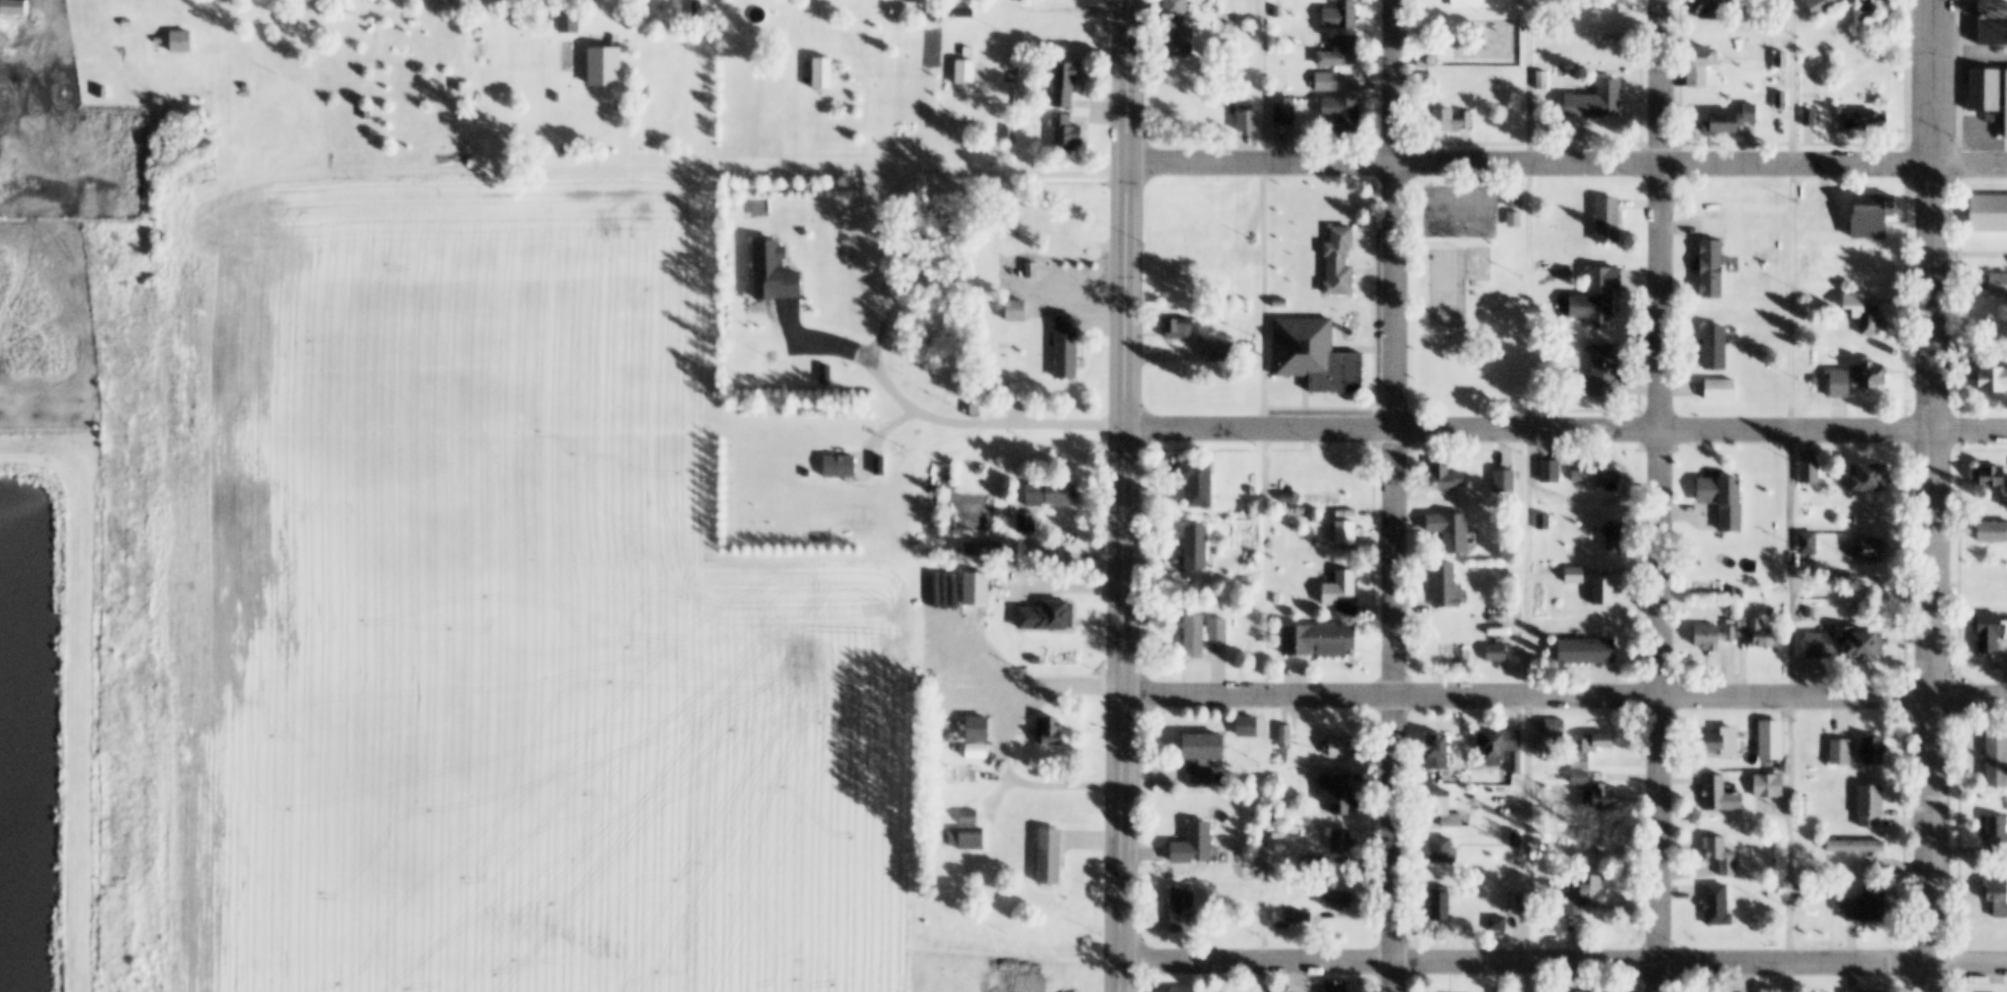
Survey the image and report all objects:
building: (1541, 1)
building: (1468, 4)
building: (1877, 6)
building: (1828, 7)
building: (12, 9)
building: (696, 9)
building: (1716, 11)
road: (1075, 12)
building: (1613, 12)
building: (1994, 12)
building: (934, 13)
building: (1277, 13)
building: (963, 14)
building: (1341, 16)
building: (567, 22)
building: (123, 23)
building: (1176, 30)
building: (1251, 33)
building: (1995, 33)
building: (477, 34)
building: (155, 41)
building: (179, 42)
building: (1337, 51)
building: (961, 52)
building: (1615, 54)
building: (1436, 61)
building: (1783, 62)
building: (1702, 68)
building: (964, 73)
building: (822, 74)
building: (1326, 82)
building: (1542, 82)
building: (1881, 83)
building: (1063, 84)
building: (242, 87)
building: (458, 87)
building: (1985, 91)
building: (99, 92)
building: (645, 95)
building: (553, 98)
building: (1596, 102)
building: (1781, 102)
building: (2006, 105)
building: (1283, 111)
building: (1344, 113)
building: (364, 114)
building: (1450, 120)
building: (1734, 120)
building: (1811, 120)
building: (1246, 121)
building: (1874, 121)
building: (1065, 132)
building: (1005, 135)
road: (1569, 162)
road: (918, 173)
building: (1513, 199)
park: (1457, 212)
building: (1990, 214)
building: (1874, 216)
building: (1513, 221)
building: (1607, 222)
building: (1061, 229)
building: (987, 235)
building: (1245, 256)
building: (1342, 261)
building: (1029, 271)
building: (773, 274)
building: (1163, 275)
building: (1071, 280)
building: (1999, 286)
park: (1445, 289)
park: (1466, 297)
building: (1598, 298)
building: (1721, 298)
building: (1278, 305)
building: (1014, 310)
building: (1865, 315)
building: (1178, 329)
road: (803, 342)
building: (1065, 347)
building: (1714, 347)
building: (1214, 351)
building: (1315, 357)
building: (1603, 372)
building: (1873, 376)
building: (1994, 381)
building: (1842, 385)
building: (1719, 390)
building: (1016, 392)
building: (948, 399)
building: (974, 411)
road: (975, 424)
road: (1567, 431)
building: (1810, 470)
building: (1549, 472)
building: (1596, 476)
building: (1994, 478)
building: (1875, 479)
building: (1447, 480)
building: (1197, 482)
building: (1251, 491)
building: (1050, 492)
building: (1716, 492)
road: (1127, 495)
building: (1284, 496)
road: (1400, 496)
road: (1663, 496)
road: (1803, 496)
road: (1938, 496)
building: (1299, 510)
building: (1543, 520)
building: (1025, 522)
building: (1346, 532)
building: (1453, 532)
building: (1994, 533)
building: (1609, 535)
building: (1808, 543)
building: (1195, 547)
building: (1873, 550)
road: (1066, 554)
building: (1730, 555)
building: (1250, 561)
building: (1575, 574)
building: (1444, 583)
building: (1602, 590)
building: (1342, 592)
building: (1276, 599)
building: (1046, 616)
building: (1218, 628)
building: (1991, 630)
building: (1760, 631)
building: (1193, 634)
building: (1714, 635)
building: (1319, 638)
building: (1821, 644)
building: (1869, 644)
building: (1588, 650)
building: (1496, 652)
building: (1503, 666)
road: (1021, 692)
road: (1566, 699)
building: (976, 728)
building: (1046, 730)
building: (1283, 734)
building: (1771, 734)
building: (1720, 741)
building: (1498, 745)
building: (971, 746)
building: (1338, 746)
building: (1591, 748)
building: (1437, 750)
building: (1875, 751)
building: (1840, 752)
building: (1998, 754)
building: (1201, 757)
building: (1768, 786)
building: (1336, 791)
building: (1720, 795)
building: (1604, 799)
building: (1870, 805)
building: (1445, 808)
building: (965, 818)
building: (1998, 832)
building: (1276, 834)
building: (963, 839)
building: (1515, 839)
building: (1339, 841)
building: (1193, 844)
building: (1856, 846)
building: (1442, 850)
building: (1720, 855)
building: (1048, 856)
building: (1308, 863)
building: (1243, 865)
building: (1868, 869)
building: (1554, 884)
building: (1510, 892)
building: (1595, 892)
building: (1997, 894)
building: (1336, 900)
building: (1440, 904)
building: (1837, 905)
building: (1718, 906)
building: (1868, 906)
building: (1181, 910)
building: (1292, 916)
road: (1565, 964)
building: (1335, 986)
building: (1280, 988)
building: (1173, 989)
building: (1499, 991)
building: (1607, 991)
building: (1860, 991)

